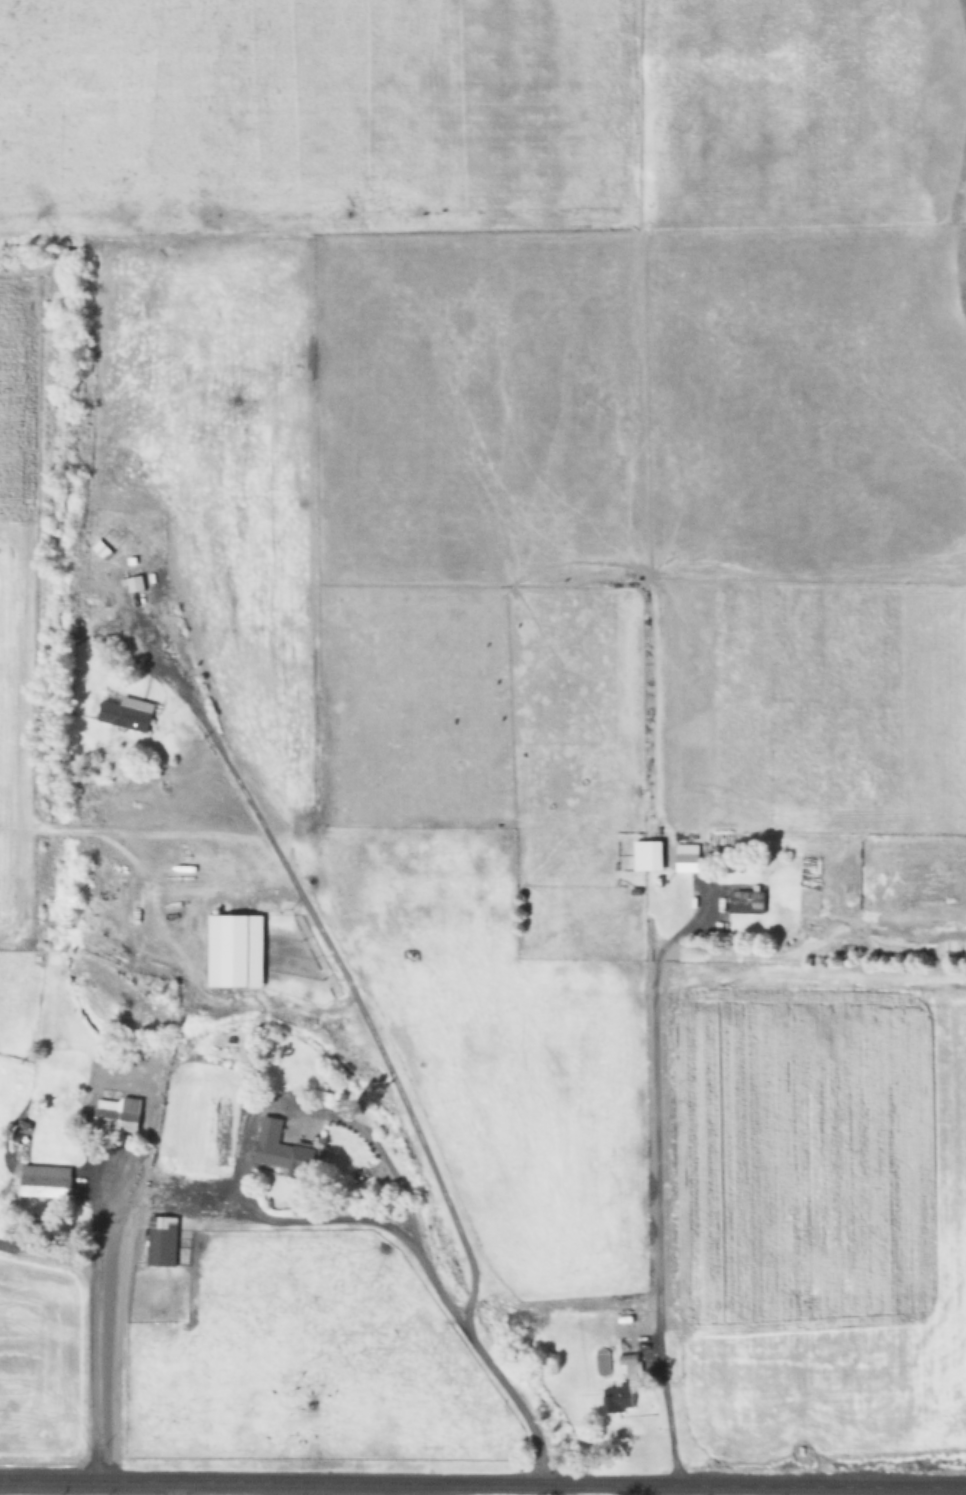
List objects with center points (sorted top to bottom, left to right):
building: (103, 549)
building: (138, 590)
building: (128, 714)
building: (649, 856)
building: (688, 857)
building: (747, 901)
building: (236, 951)
building: (118, 1114)
building: (288, 1151)
building: (47, 1178)
building: (163, 1241)
building: (620, 1397)
road: (483, 1484)

